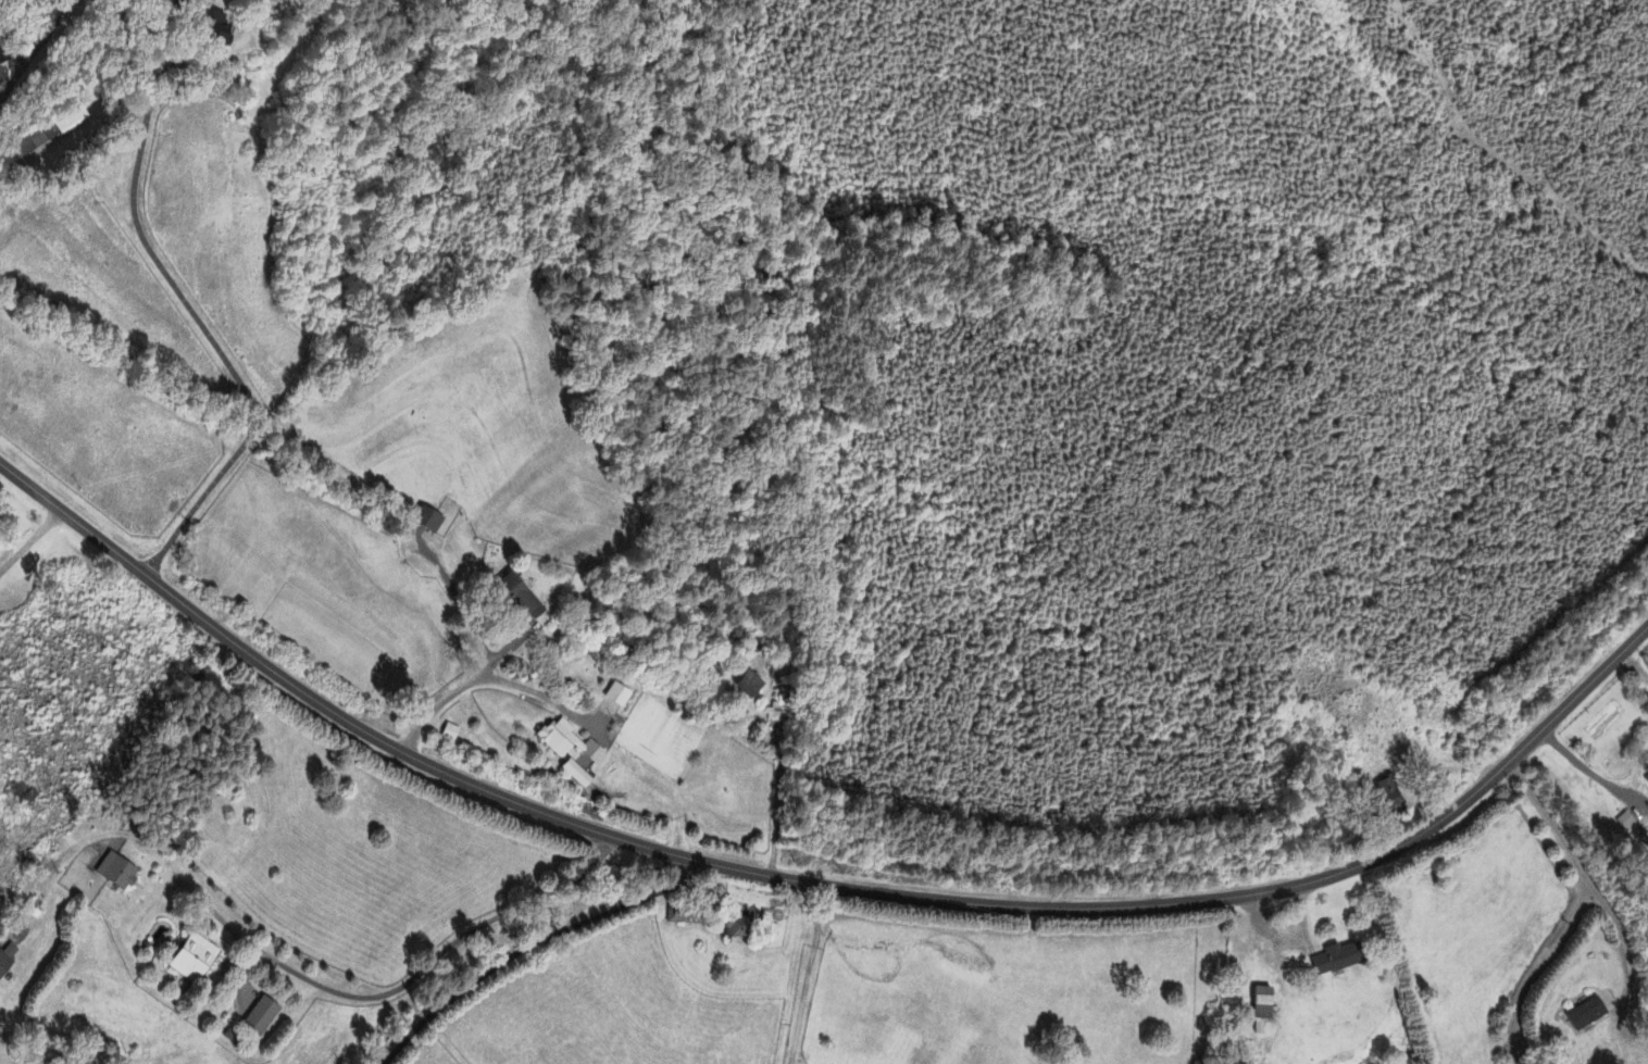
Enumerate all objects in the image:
road: (165, 13)
road: (180, 13)
building: (220, 22)
road: (35, 54)
building: (74, 122)
building: (36, 143)
road: (0, 160)
road: (197, 320)
building: (424, 522)
road: (30, 540)
building: (515, 600)
road: (1636, 659)
road: (498, 678)
building: (746, 686)
building: (614, 697)
building: (449, 734)
building: (565, 743)
building: (576, 761)
building: (1646, 768)
road: (1595, 771)
building: (572, 775)
building: (1646, 783)
road: (776, 792)
building: (1624, 823)
building: (120, 873)
road: (814, 885)
road: (1573, 911)
building: (673, 917)
building: (733, 928)
road: (1620, 935)
road: (525, 949)
building: (8, 961)
building: (196, 961)
building: (1331, 961)
road: (300, 973)
road: (804, 975)
building: (1258, 998)
road: (1639, 1005)
building: (1585, 1015)
building: (264, 1016)

